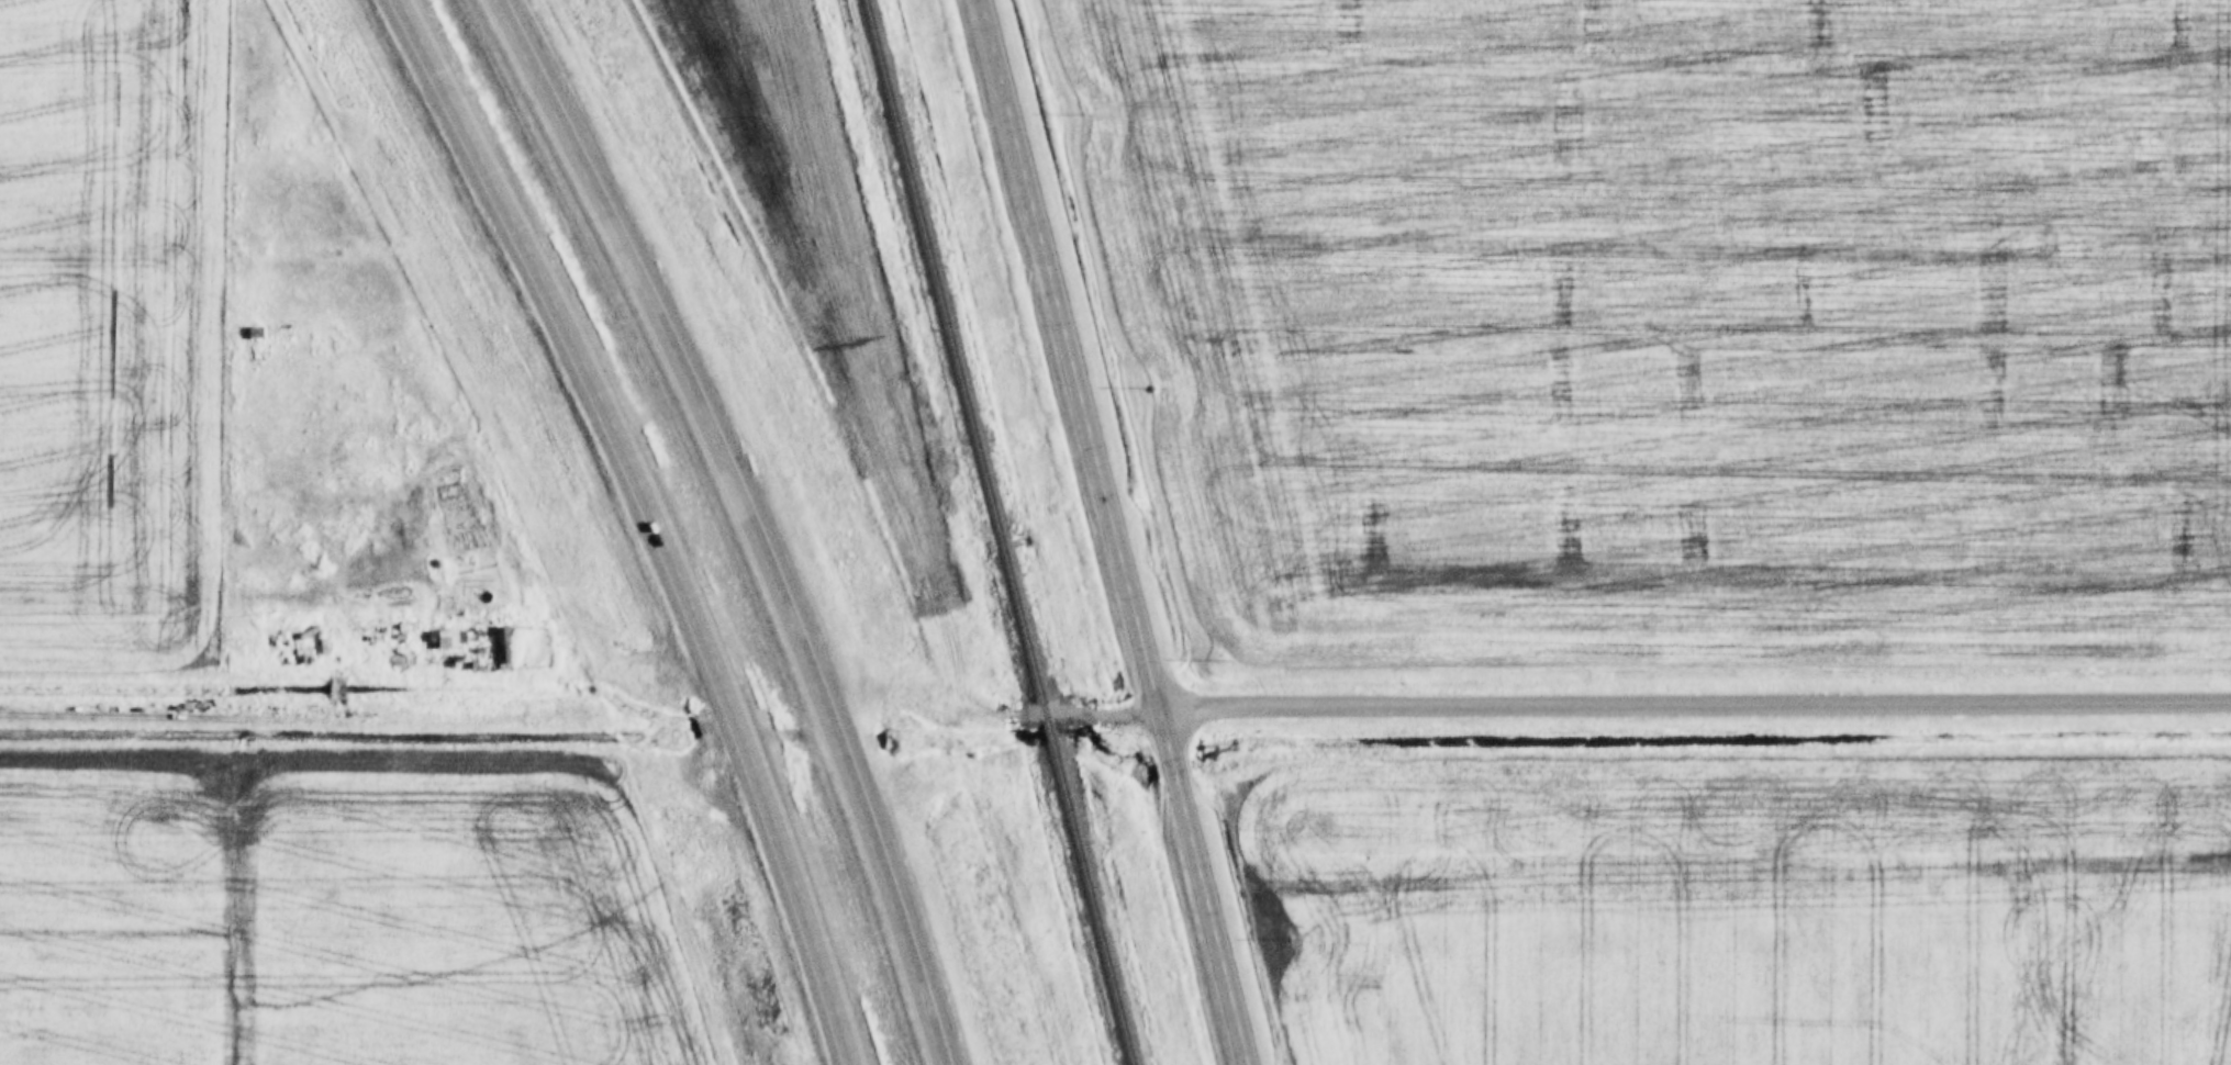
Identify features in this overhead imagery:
road: (1067, 355)
road: (659, 518)
road: (749, 520)
railway: (993, 532)
road: (1691, 699)
road: (1016, 713)
road: (1208, 885)

